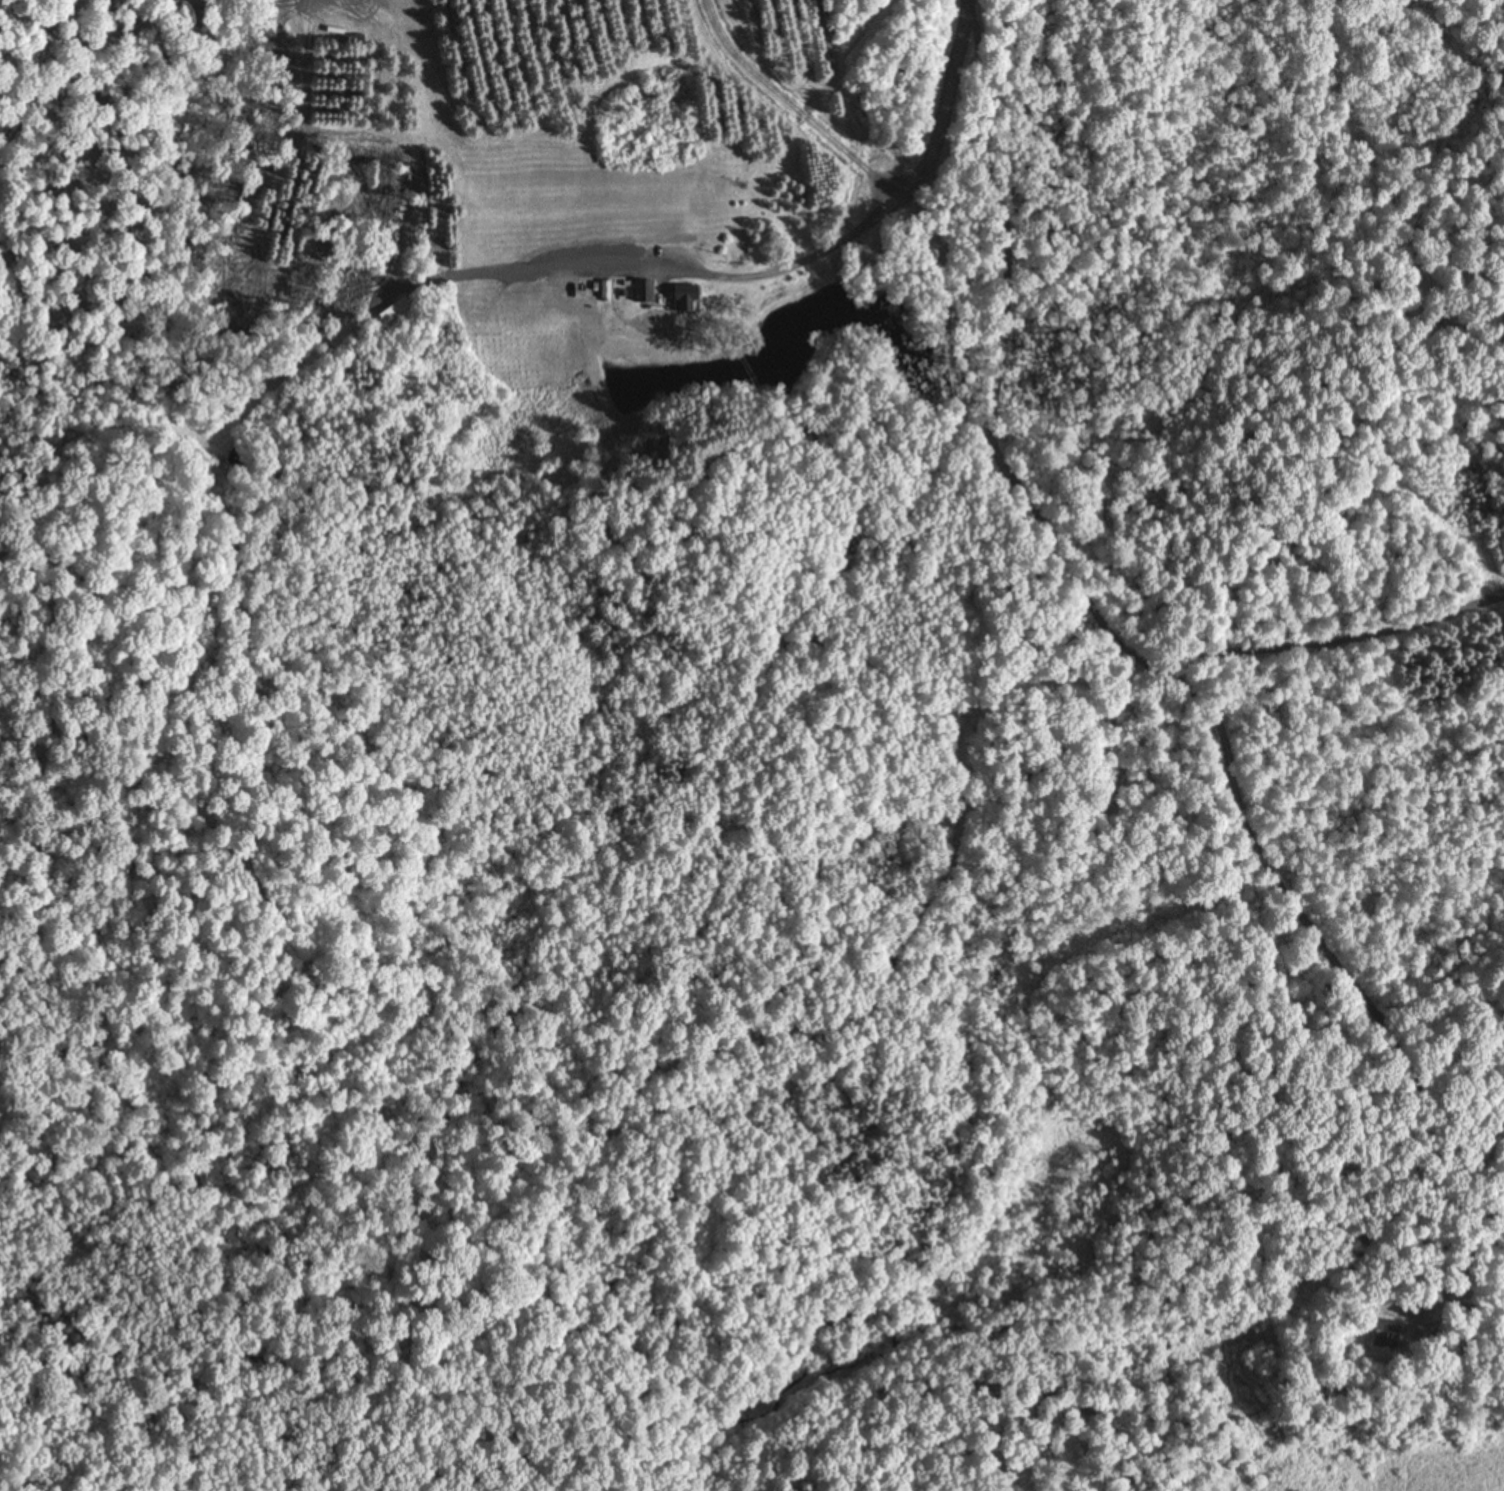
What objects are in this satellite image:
road: (906, 180)
building: (642, 291)
building: (579, 296)
building: (683, 300)
building: (392, 311)
river: (1066, 1319)
building: (1384, 1336)

